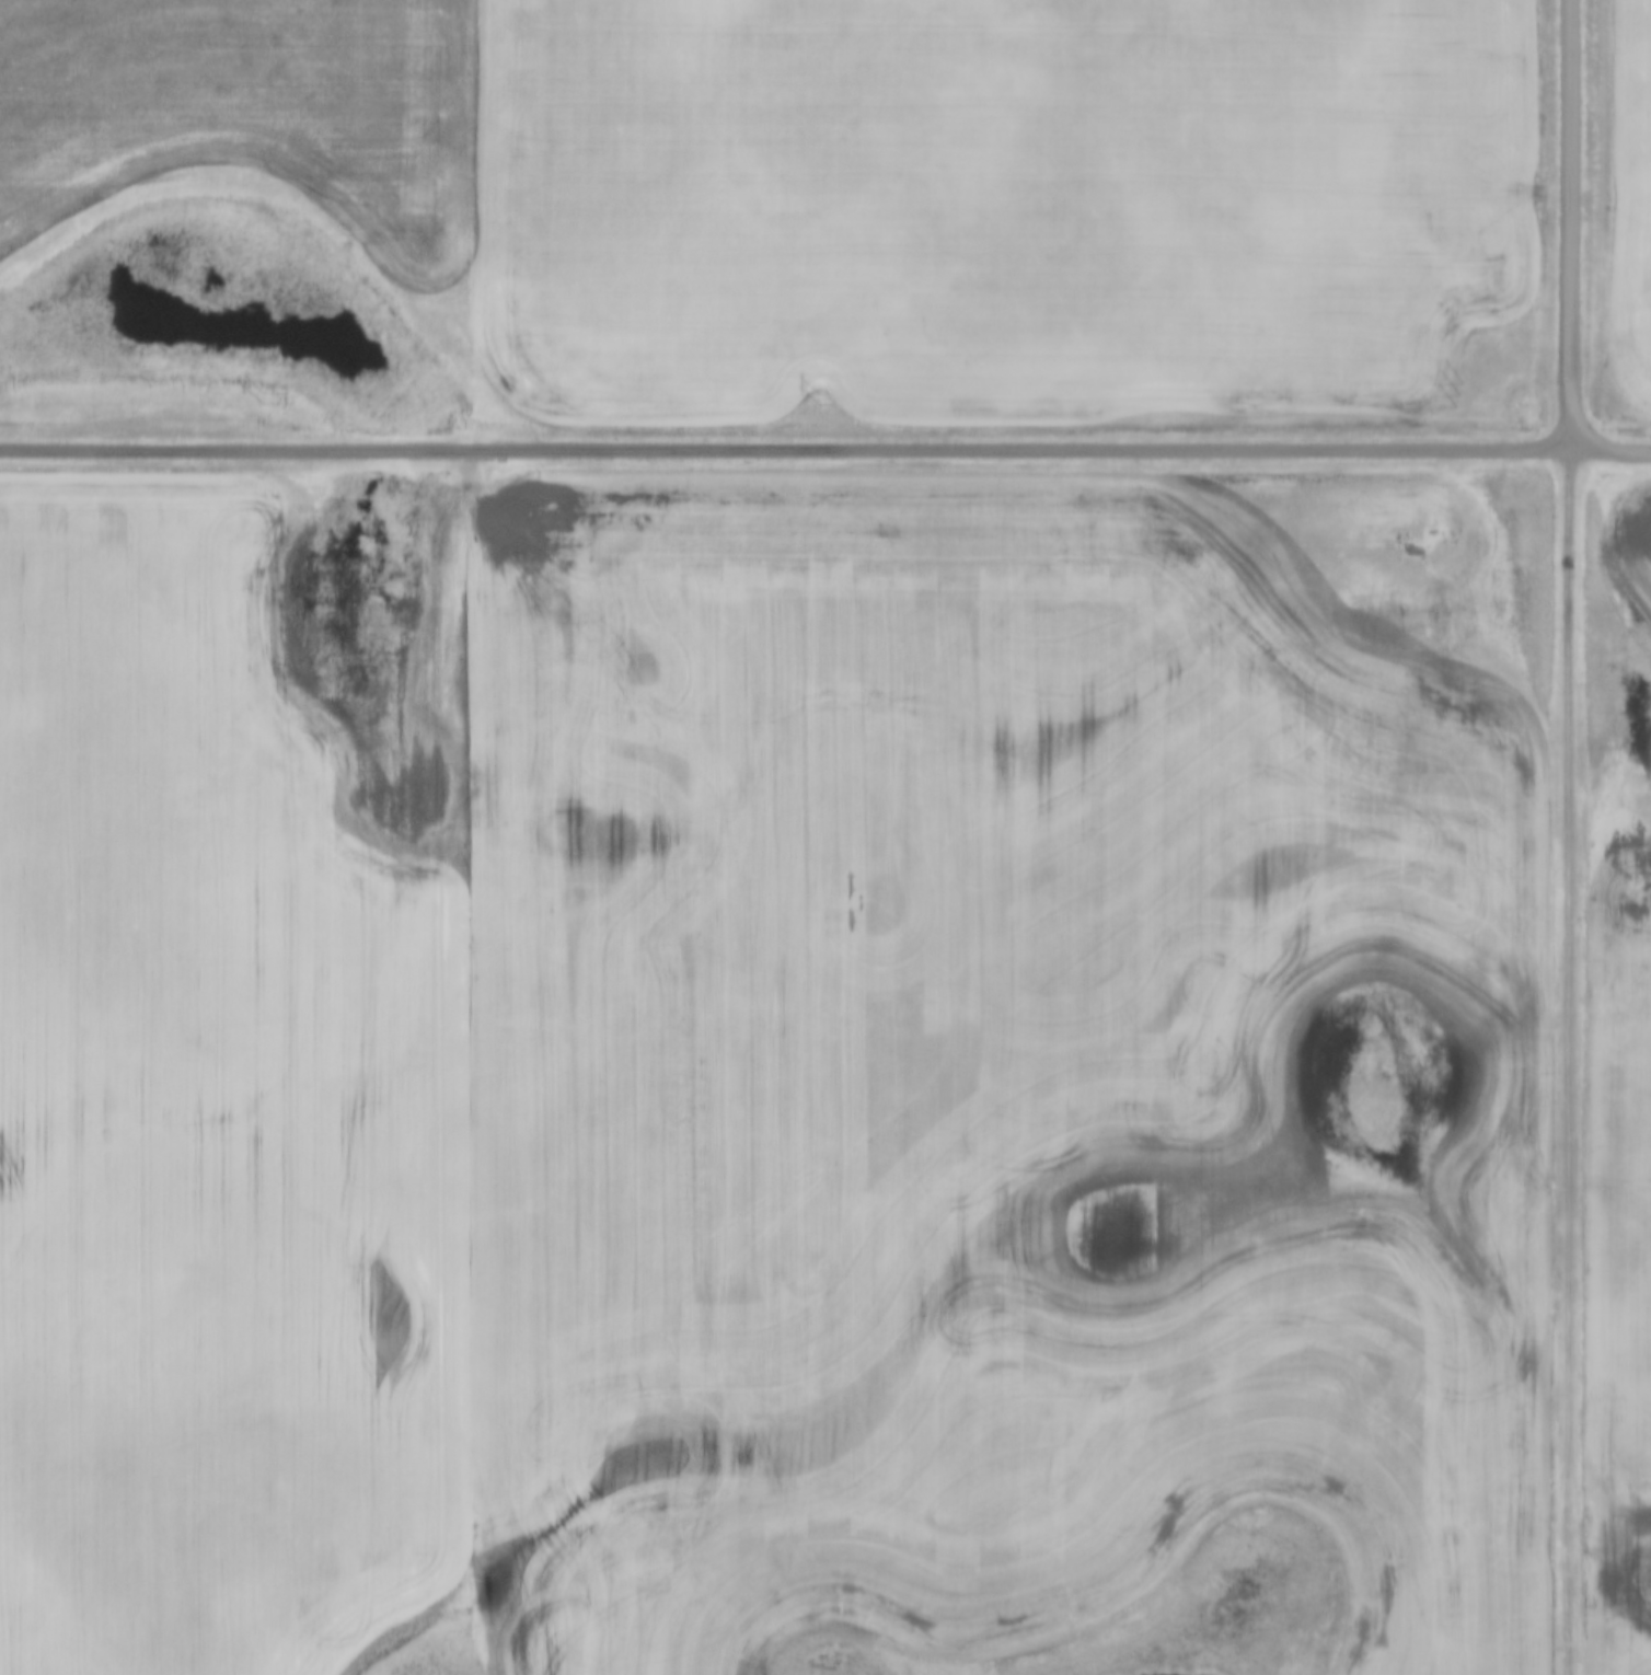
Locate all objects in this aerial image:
road: (1568, 223)
road: (825, 447)
road: (1570, 1060)

